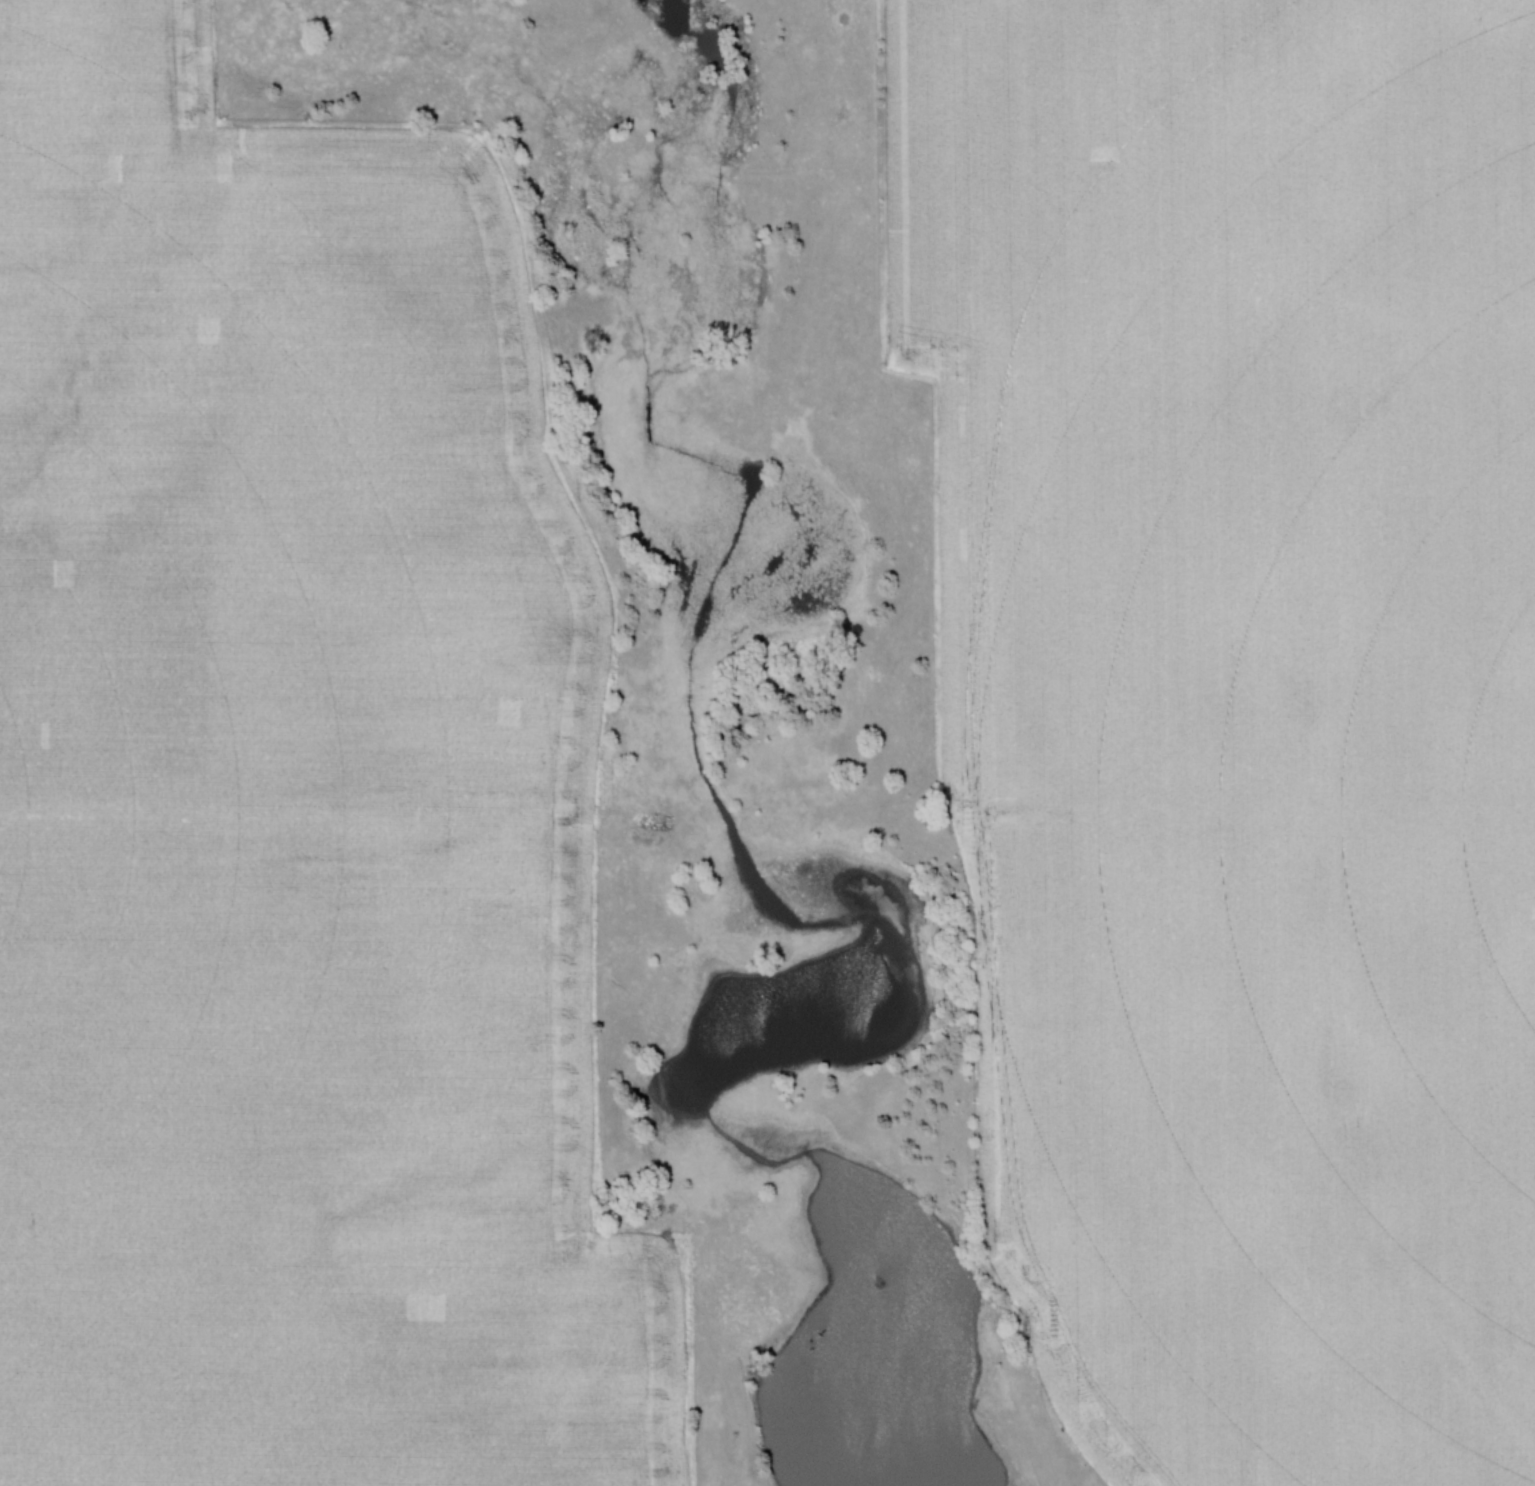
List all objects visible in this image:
dam: (1006, 1484)

